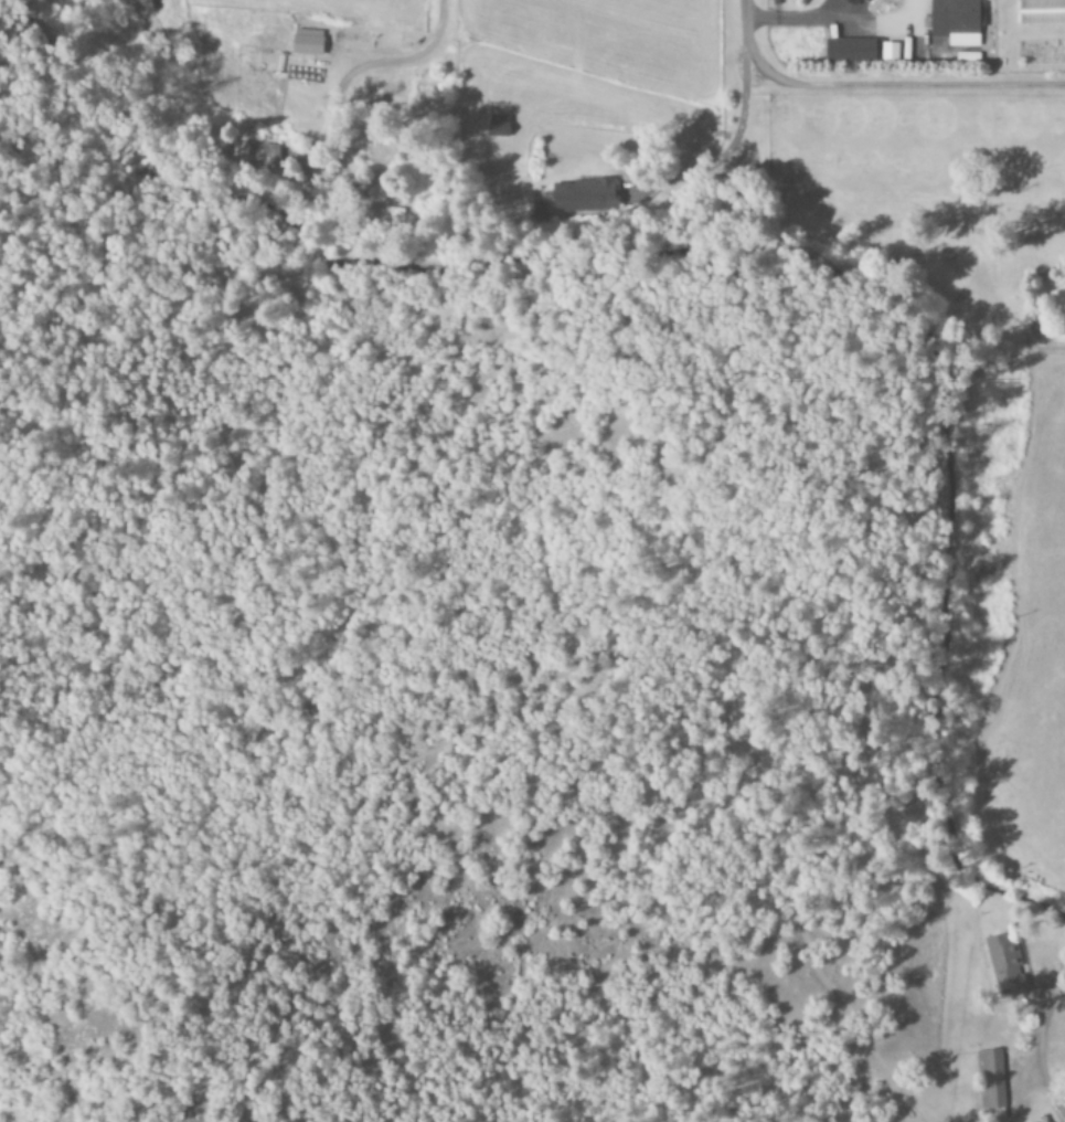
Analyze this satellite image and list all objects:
building: (867, 0)
building: (850, 1)
building: (957, 21)
road: (821, 23)
road: (742, 38)
building: (307, 43)
building: (860, 52)
road: (369, 70)
road: (893, 88)
building: (498, 126)
building: (264, 155)
building: (584, 195)
building: (1004, 965)
building: (993, 1079)

